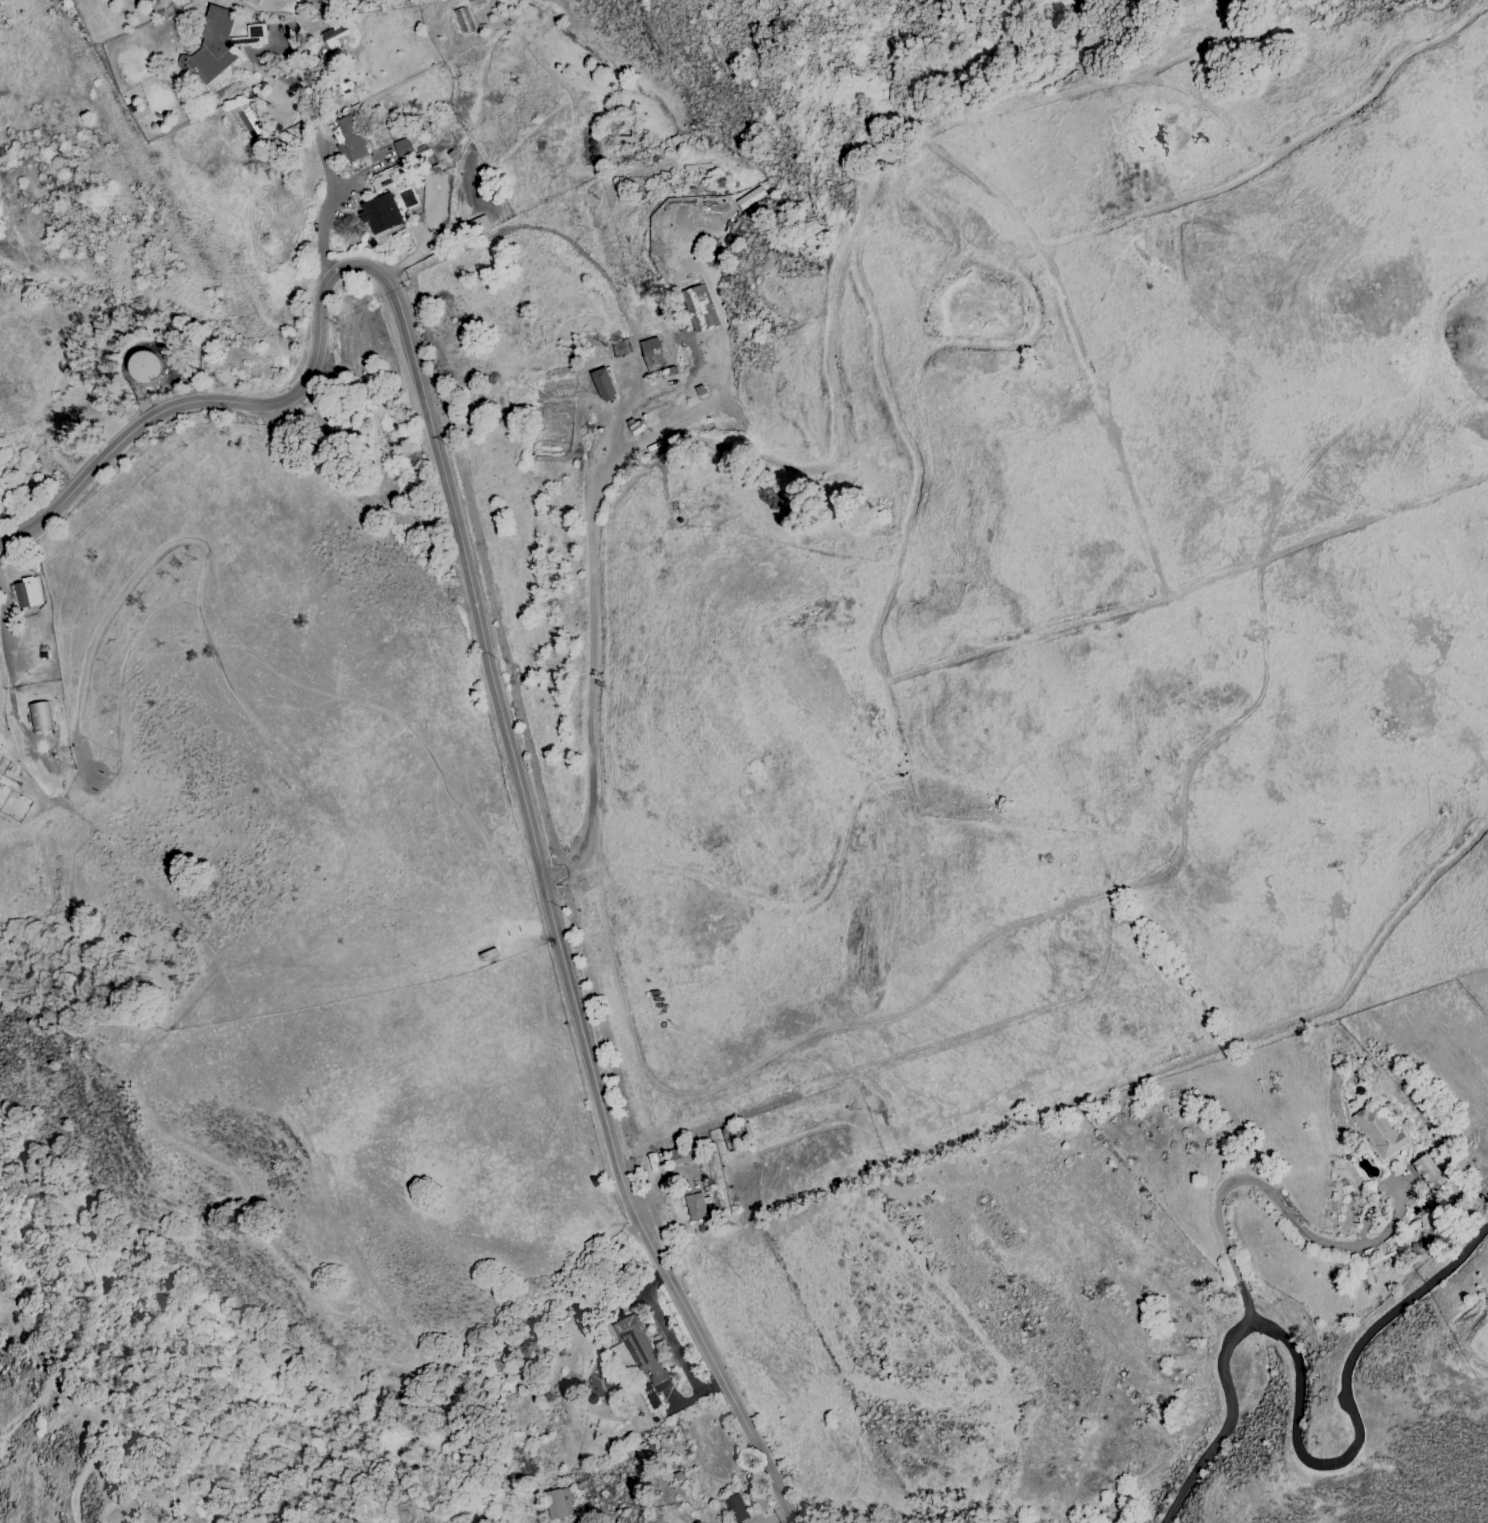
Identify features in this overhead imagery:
building: (463, 19)
building: (334, 34)
building: (218, 44)
park: (917, 61)
road: (316, 104)
building: (351, 136)
building: (403, 148)
building: (387, 176)
road: (328, 198)
building: (379, 212)
building: (698, 309)
building: (651, 353)
building: (146, 366)
building: (603, 384)
building: (28, 591)
road: (5, 635)
road: (591, 645)
road: (486, 655)
building: (41, 715)
building: (1378, 1131)
building: (679, 1155)
building: (1426, 1170)
building: (694, 1206)
road: (1227, 1245)
building: (637, 1350)
building: (601, 1383)
road: (1341, 1423)
building: (559, 1502)
building: (736, 1508)
building: (1100, 1522)

